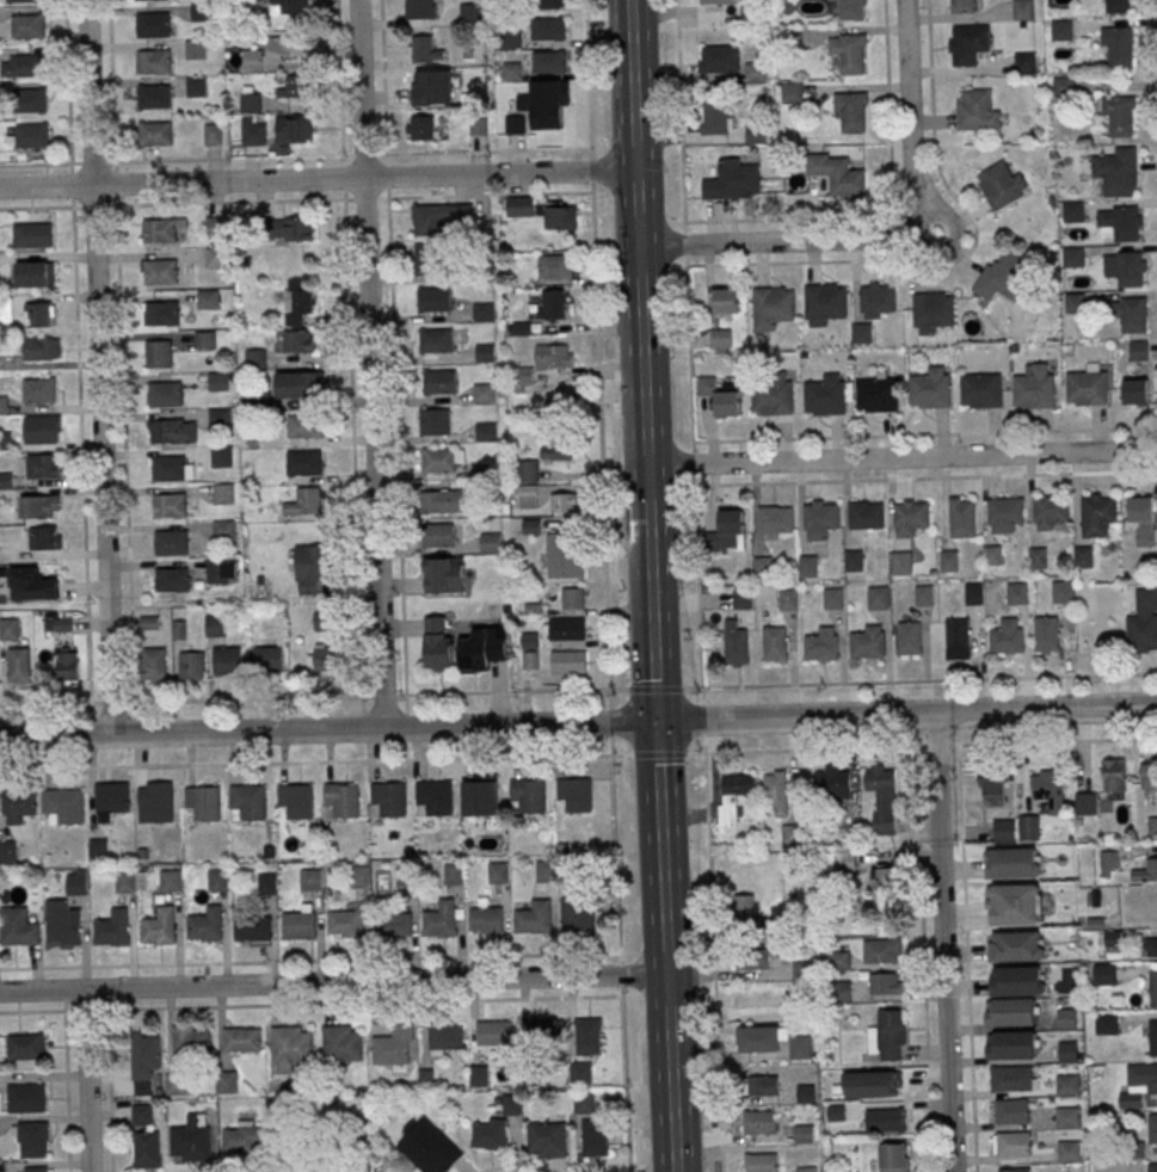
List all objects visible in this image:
building: (147, 0)
building: (23, 1)
building: (716, 1)
building: (549, 5)
building: (290, 6)
building: (962, 6)
building: (1118, 6)
building: (420, 8)
building: (848, 10)
building: (1023, 10)
building: (469, 13)
building: (750, 17)
building: (153, 25)
building: (27, 26)
building: (549, 29)
building: (1061, 30)
building: (967, 43)
building: (1120, 47)
building: (285, 48)
building: (195, 49)
building: (423, 50)
building: (850, 55)
building: (718, 58)
building: (252, 60)
building: (153, 61)
building: (548, 62)
building: (1024, 63)
building: (20, 66)
building: (755, 73)
road: (587, 74)
road: (382, 76)
road: (339, 78)
road: (111, 81)
road: (930, 85)
building: (196, 87)
building: (293, 87)
building: (431, 87)
building: (792, 93)
building: (153, 97)
building: (29, 100)
building: (548, 104)
building: (850, 111)
building: (976, 111)
building: (715, 113)
building: (1121, 116)
road: (632, 123)
building: (515, 124)
building: (478, 127)
building: (420, 129)
building: (294, 130)
building: (155, 134)
building: (213, 134)
building: (253, 134)
building: (31, 135)
road: (35, 164)
building: (1118, 171)
building: (837, 173)
road: (343, 177)
road: (316, 178)
building: (732, 181)
building: (1001, 185)
road: (70, 186)
road: (593, 192)
building: (521, 206)
road: (36, 208)
road: (890, 208)
building: (1072, 212)
building: (561, 218)
building: (425, 221)
building: (1121, 222)
building: (214, 227)
building: (291, 229)
building: (159, 230)
road: (684, 234)
building: (31, 235)
road: (885, 238)
building: (215, 258)
building: (1072, 258)
building: (426, 260)
building: (555, 267)
building: (1130, 269)
building: (160, 271)
building: (33, 275)
building: (1002, 276)
building: (208, 300)
building: (433, 300)
building: (296, 301)
building: (727, 301)
building: (876, 301)
building: (824, 302)
building: (553, 304)
building: (1073, 304)
building: (773, 307)
building: (482, 311)
building: (933, 311)
building: (162, 314)
building: (1133, 314)
building: (38, 315)
building: (861, 333)
building: (720, 338)
building: (204, 340)
building: (297, 341)
building: (435, 341)
building: (39, 350)
building: (1138, 351)
building: (159, 353)
building: (485, 353)
building: (254, 359)
road: (371, 364)
building: (542, 365)
road: (97, 368)
building: (217, 381)
building: (438, 382)
building: (300, 384)
building: (1088, 387)
building: (930, 388)
building: (1035, 388)
building: (38, 390)
building: (981, 390)
building: (1134, 391)
building: (165, 394)
building: (482, 394)
building: (878, 394)
building: (774, 395)
building: (826, 395)
building: (720, 399)
building: (2, 405)
building: (561, 412)
building: (219, 418)
road: (642, 419)
building: (433, 421)
building: (304, 426)
building: (42, 427)
building: (171, 431)
building: (485, 432)
road: (602, 440)
building: (555, 450)
road: (80, 455)
building: (221, 457)
road: (900, 458)
building: (442, 459)
building: (303, 463)
building: (42, 465)
building: (168, 468)
building: (527, 483)
building: (222, 494)
building: (306, 501)
building: (442, 501)
building: (564, 504)
building: (170, 505)
building: (38, 506)
building: (1051, 508)
building: (1098, 508)
building: (1005, 510)
building: (866, 513)
building: (911, 513)
building: (821, 516)
building: (961, 518)
building: (775, 519)
building: (1141, 522)
building: (223, 530)
building: (726, 533)
building: (438, 535)
building: (44, 538)
building: (171, 542)
building: (490, 543)
building: (564, 555)
building: (993, 555)
building: (1084, 556)
building: (1039, 557)
building: (854, 560)
building: (899, 561)
building: (950, 561)
building: (808, 566)
building: (763, 567)
building: (216, 570)
building: (312, 570)
building: (443, 575)
building: (171, 580)
building: (35, 586)
building: (1063, 592)
building: (974, 593)
building: (1017, 593)
building: (924, 596)
building: (833, 598)
building: (878, 598)
building: (573, 599)
building: (741, 599)
building: (788, 599)
building: (324, 622)
building: (148, 623)
building: (1143, 623)
building: (57, 625)
building: (214, 625)
building: (8, 629)
building: (567, 629)
building: (1046, 635)
building: (956, 637)
building: (1007, 637)
building: (909, 639)
building: (736, 642)
building: (868, 642)
building: (438, 643)
building: (775, 644)
building: (821, 644)
building: (482, 648)
road: (652, 656)
building: (227, 659)
building: (267, 659)
building: (322, 659)
building: (567, 661)
building: (153, 664)
building: (18, 665)
building: (190, 665)
building: (67, 668)
road: (486, 692)
road: (180, 701)
road: (905, 713)
traffic signals: (654, 722)
road: (327, 730)
road: (884, 747)
road: (610, 754)
building: (1114, 775)
building: (1149, 775)
building: (832, 783)
road: (657, 787)
building: (1050, 789)
building: (776, 791)
building: (991, 791)
building: (574, 794)
building: (734, 795)
building: (528, 796)
building: (881, 796)
building: (435, 797)
building: (481, 797)
building: (343, 798)
building: (387, 800)
building: (111, 801)
building: (296, 801)
building: (203, 802)
building: (247, 802)
building: (18, 803)
building: (155, 804)
building: (62, 807)
building: (1152, 825)
building: (1028, 828)
building: (1003, 829)
building: (790, 834)
building: (839, 835)
building: (98, 850)
building: (7, 851)
building: (844, 862)
building: (1013, 864)
building: (1108, 864)
building: (544, 871)
building: (1146, 871)
building: (498, 872)
building: (453, 874)
building: (406, 875)
building: (885, 876)
building: (359, 877)
building: (217, 880)
building: (310, 880)
building: (170, 881)
building: (124, 882)
building: (266, 883)
building: (75, 884)
building: (1106, 896)
building: (1013, 905)
building: (745, 908)
building: (1147, 914)
building: (576, 915)
building: (535, 918)
building: (441, 920)
building: (485, 921)
building: (346, 923)
building: (205, 924)
building: (393, 924)
building: (300, 925)
building: (17, 926)
building: (66, 926)
building: (160, 926)
building: (774, 926)
building: (113, 927)
building: (252, 927)
building: (1113, 940)
road: (944, 942)
building: (1016, 946)
building: (1147, 946)
building: (881, 951)
building: (752, 960)
road: (309, 961)
building: (837, 961)
road: (620, 963)
building: (1103, 974)
road: (332, 981)
building: (1020, 981)
building: (885, 983)
building: (1153, 988)
building: (839, 992)
building: (751, 997)
road: (310, 1004)
road: (666, 1011)
building: (1013, 1012)
building: (1066, 1019)
building: (1106, 1024)
building: (548, 1030)
building: (494, 1032)
building: (444, 1036)
building: (587, 1036)
building: (887, 1036)
building: (1153, 1037)
building: (758, 1038)
building: (191, 1040)
building: (242, 1040)
building: (341, 1043)
building: (291, 1044)
building: (394, 1045)
building: (1014, 1045)
building: (25, 1047)
building: (799, 1047)
building: (1067, 1051)
building: (143, 1060)
building: (580, 1073)
building: (1147, 1077)
road: (88, 1079)
building: (1013, 1079)
building: (226, 1081)
building: (176, 1084)
building: (872, 1084)
building: (762, 1085)
building: (1066, 1085)
road: (66, 1091)
road: (110, 1091)
building: (805, 1093)
building: (26, 1098)
building: (585, 1103)
building: (1011, 1111)
building: (835, 1112)
building: (141, 1115)
building: (1067, 1117)
building: (884, 1119)
building: (758, 1122)
building: (1152, 1128)
building: (804, 1133)
building: (491, 1134)
building: (595, 1137)
building: (191, 1139)
building: (247, 1139)
building: (547, 1139)
building: (30, 1140)
building: (1014, 1145)
building: (146, 1149)
building: (1069, 1151)
building: (437, 1154)
building: (893, 1158)
building: (310, 1159)
building: (761, 1162)
building: (1150, 1167)
building: (805, 1168)
building: (36, 1170)
building: (1014, 1170)

